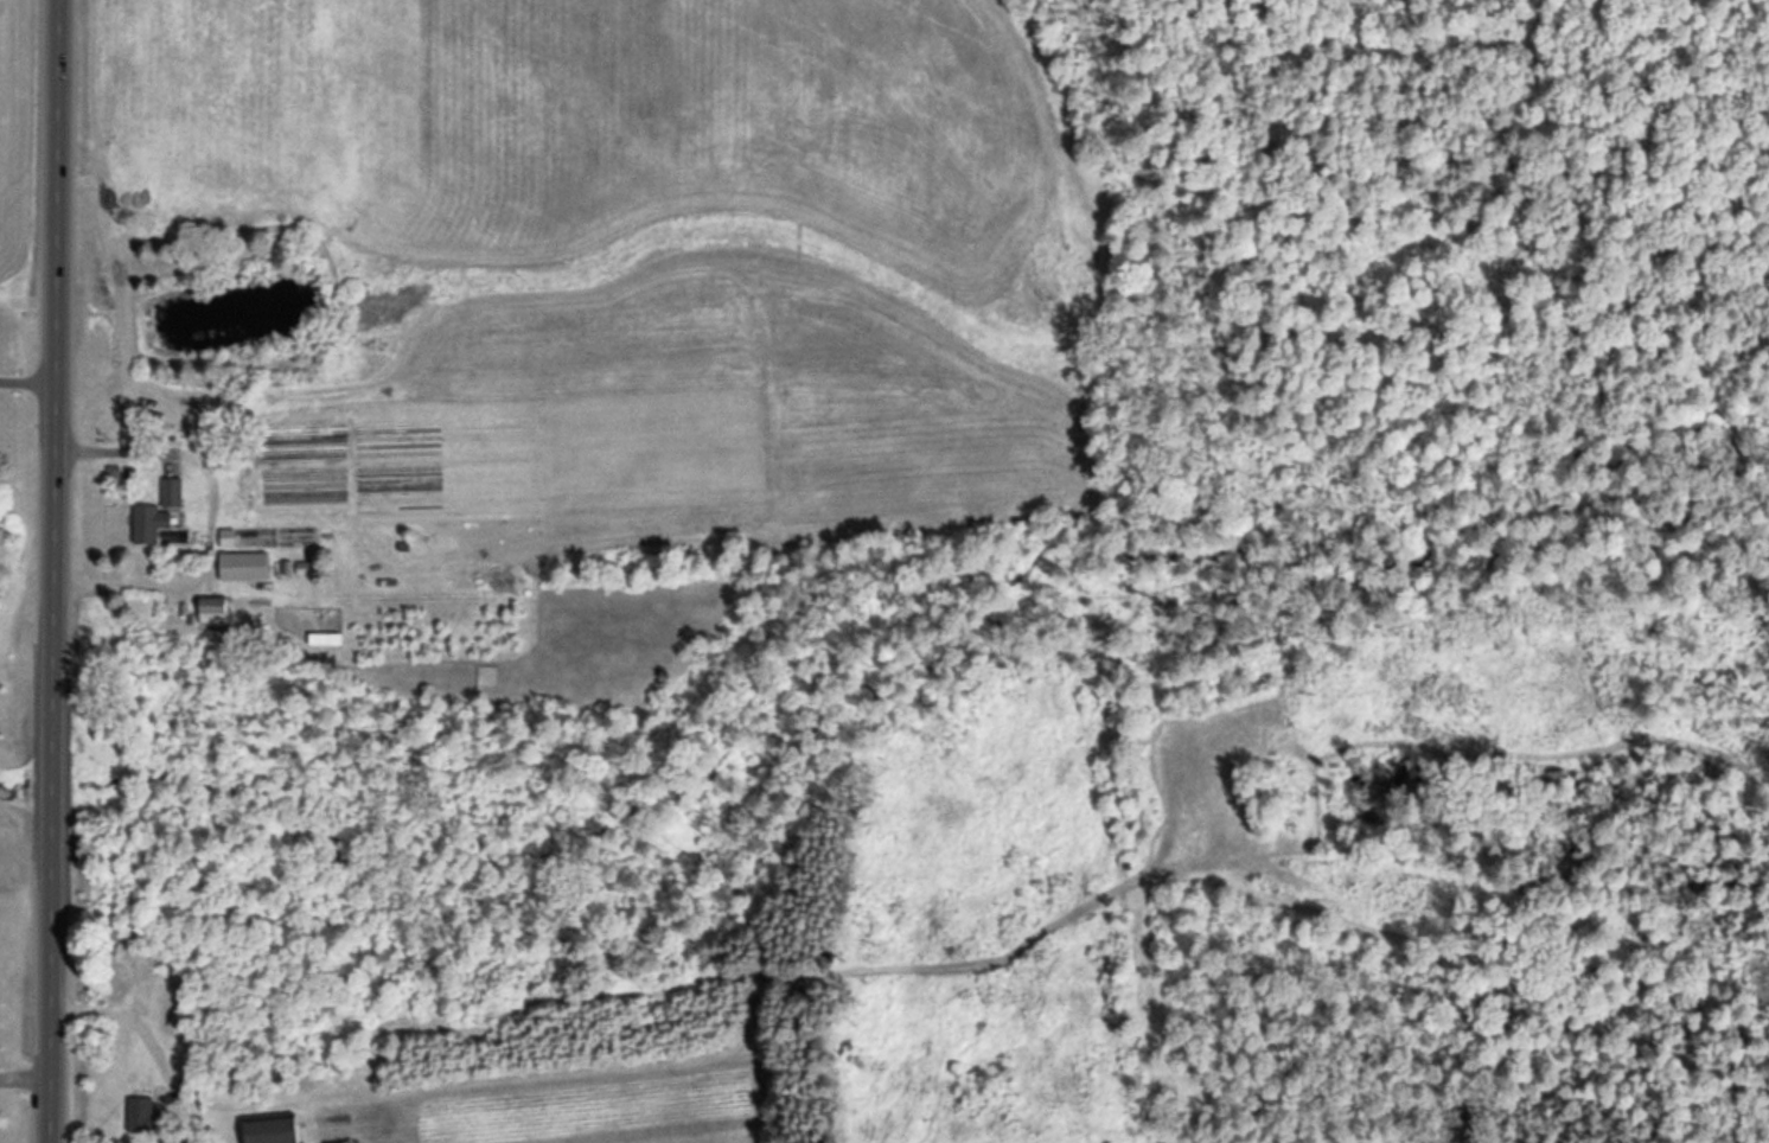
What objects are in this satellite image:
building: (159, 516)
building: (247, 566)
road: (56, 571)
building: (217, 609)
road: (226, 1014)
building: (140, 1113)
building: (275, 1129)

